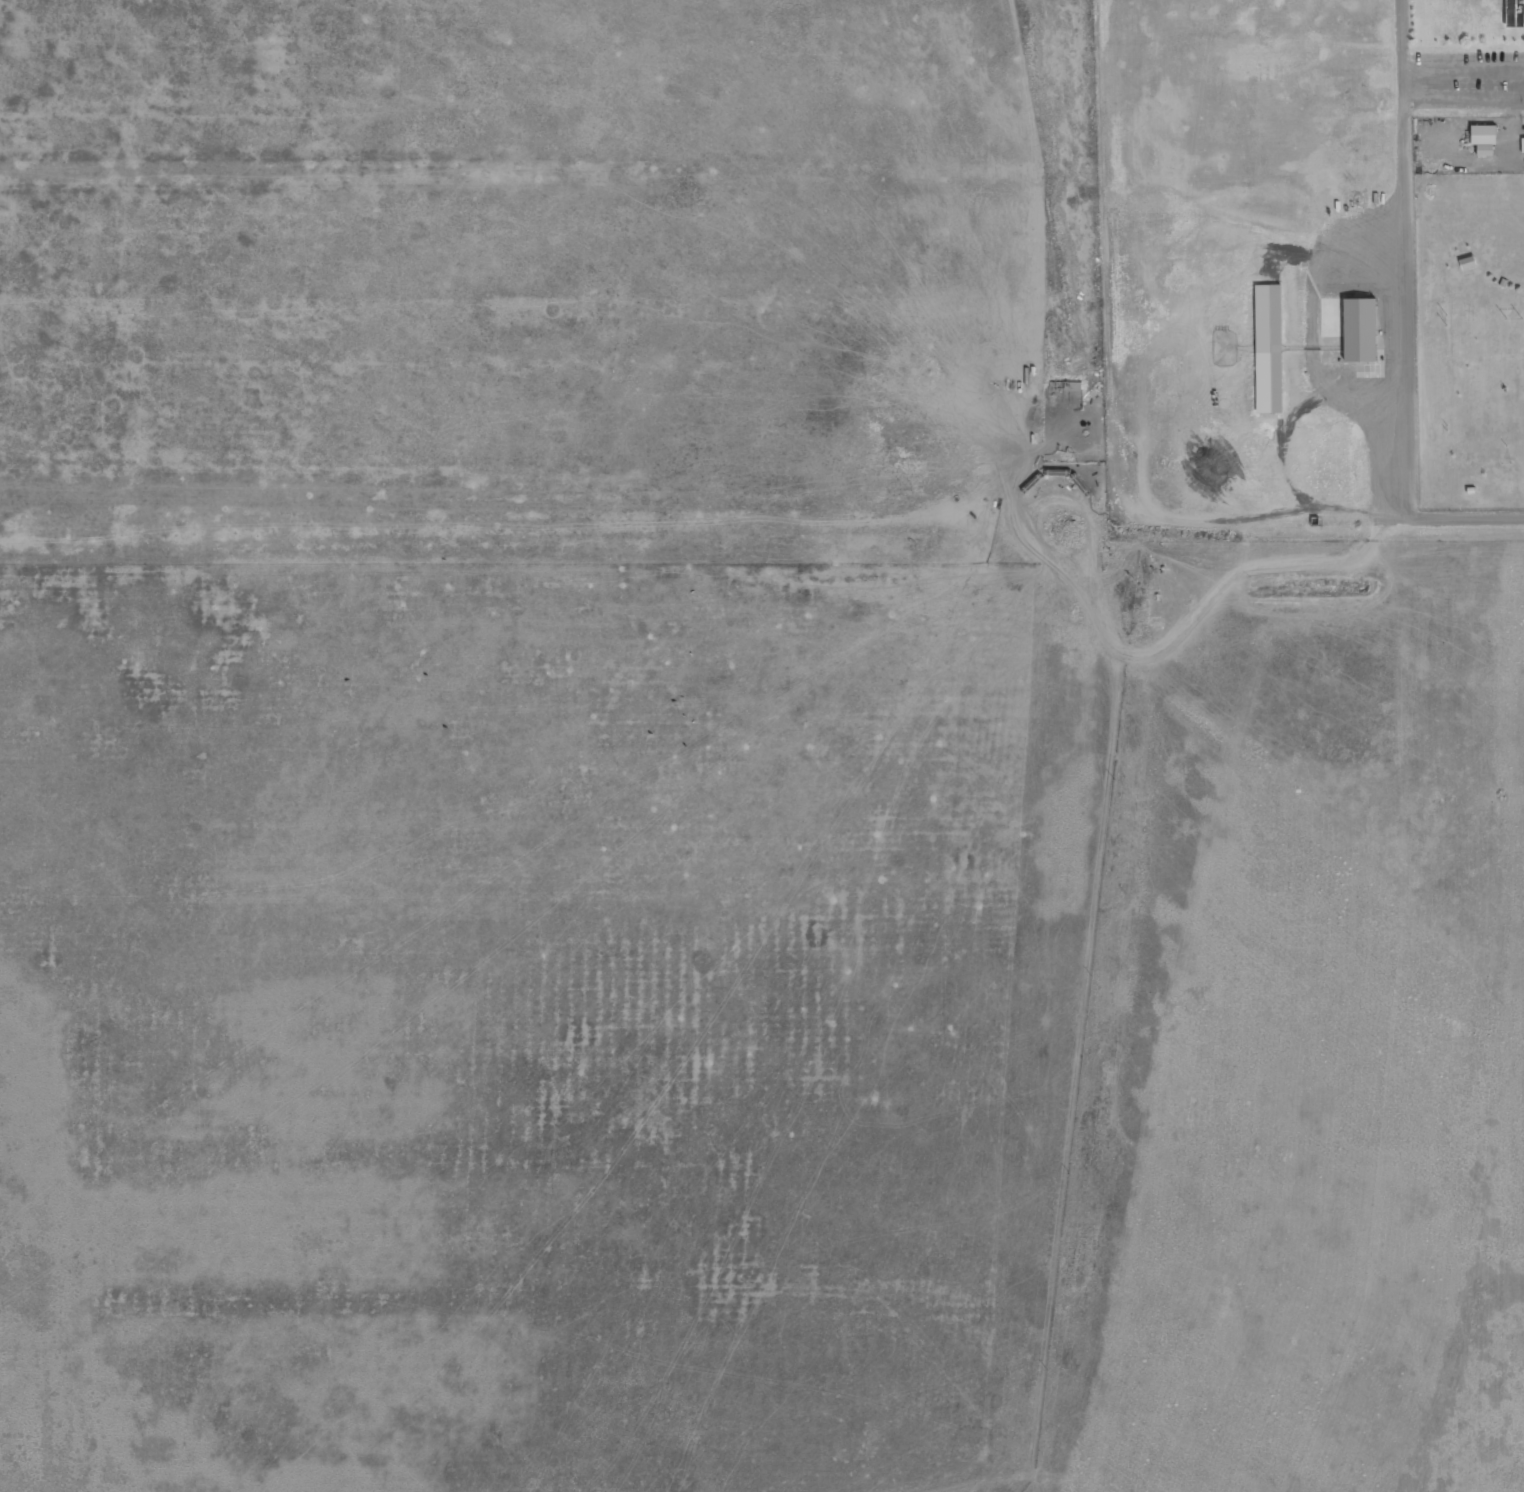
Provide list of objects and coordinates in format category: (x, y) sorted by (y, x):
building: (1515, 14)
road: (1463, 72)
road: (1463, 103)
building: (1485, 137)
building: (1523, 149)
road: (1403, 256)
building: (1268, 316)
building: (1360, 331)
building: (1267, 383)
road: (1456, 519)

